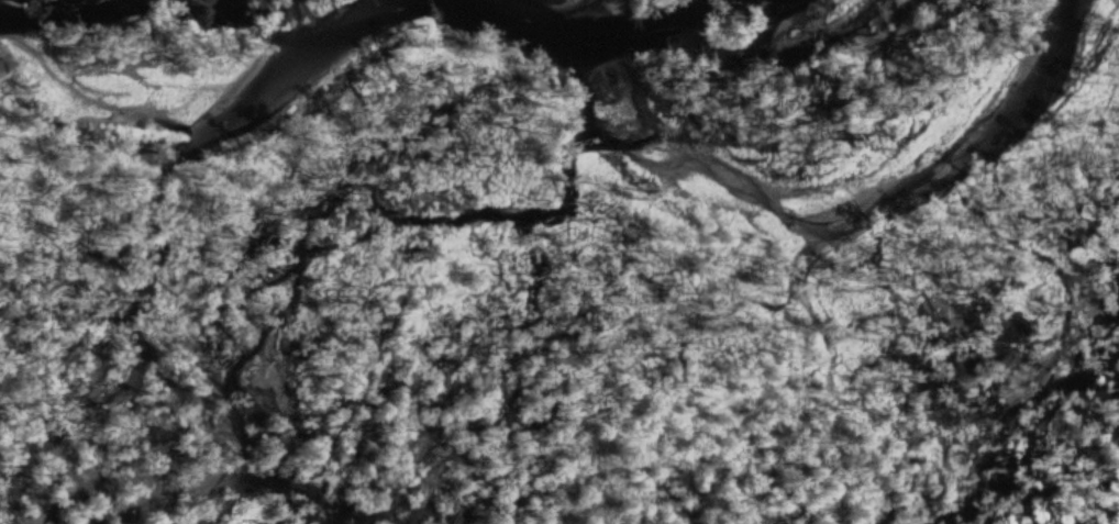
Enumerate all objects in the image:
river: (202, 100)
river: (805, 198)

